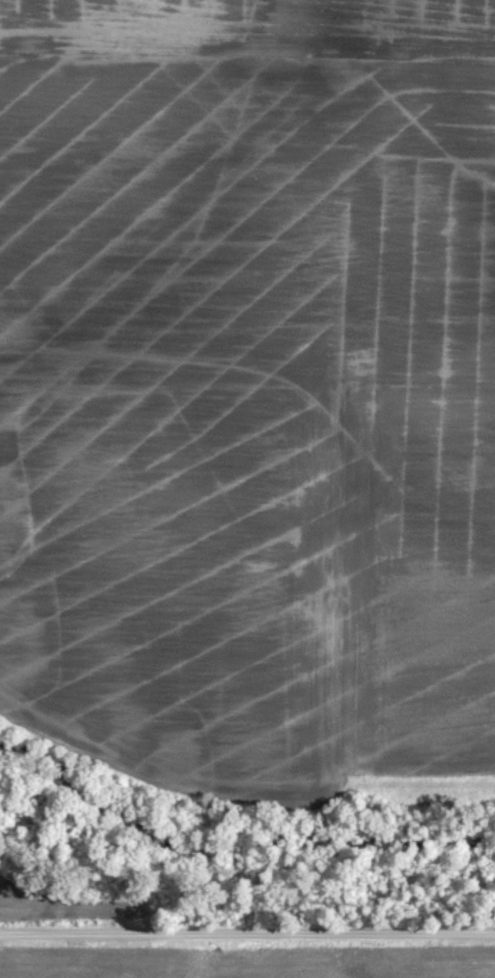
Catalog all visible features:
road: (247, 927)

